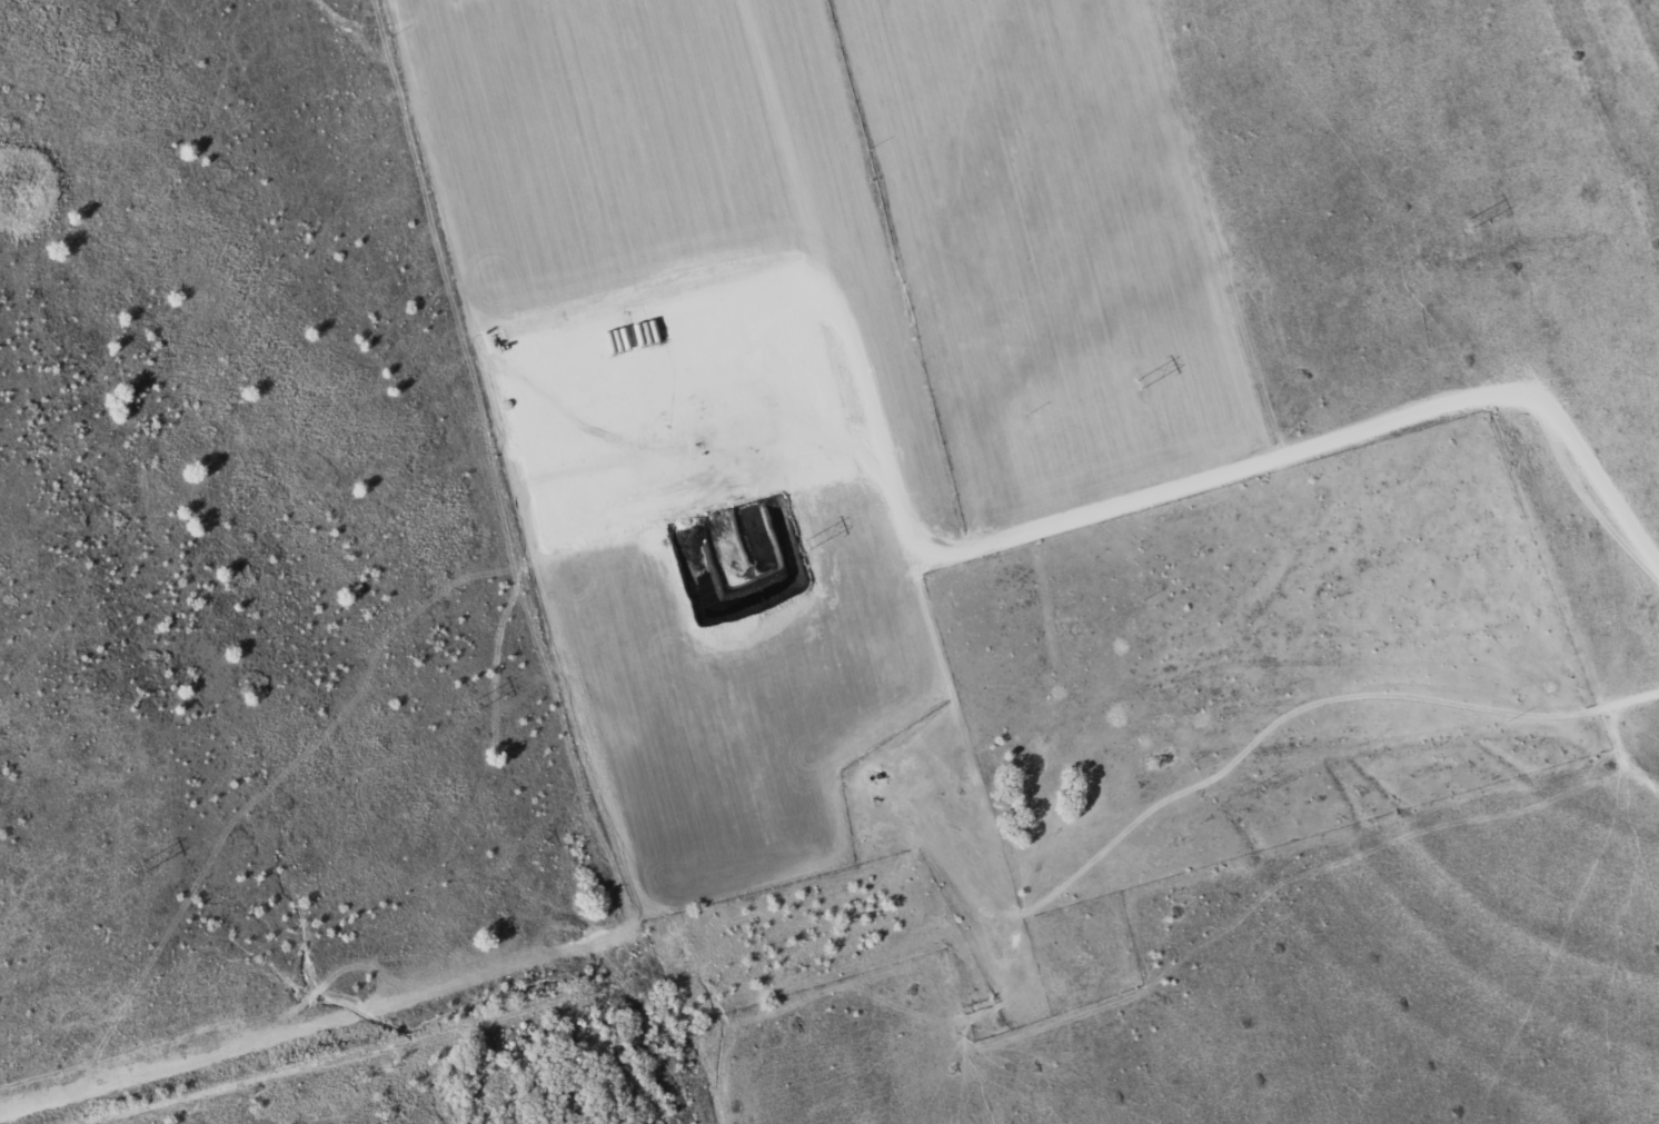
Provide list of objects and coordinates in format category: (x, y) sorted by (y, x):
power tower: (1471, 222)
road: (841, 240)
power tower: (1141, 384)
road: (1354, 462)
power tower: (807, 544)
power tower: (477, 705)
building: (1162, 758)
power tower: (145, 863)

